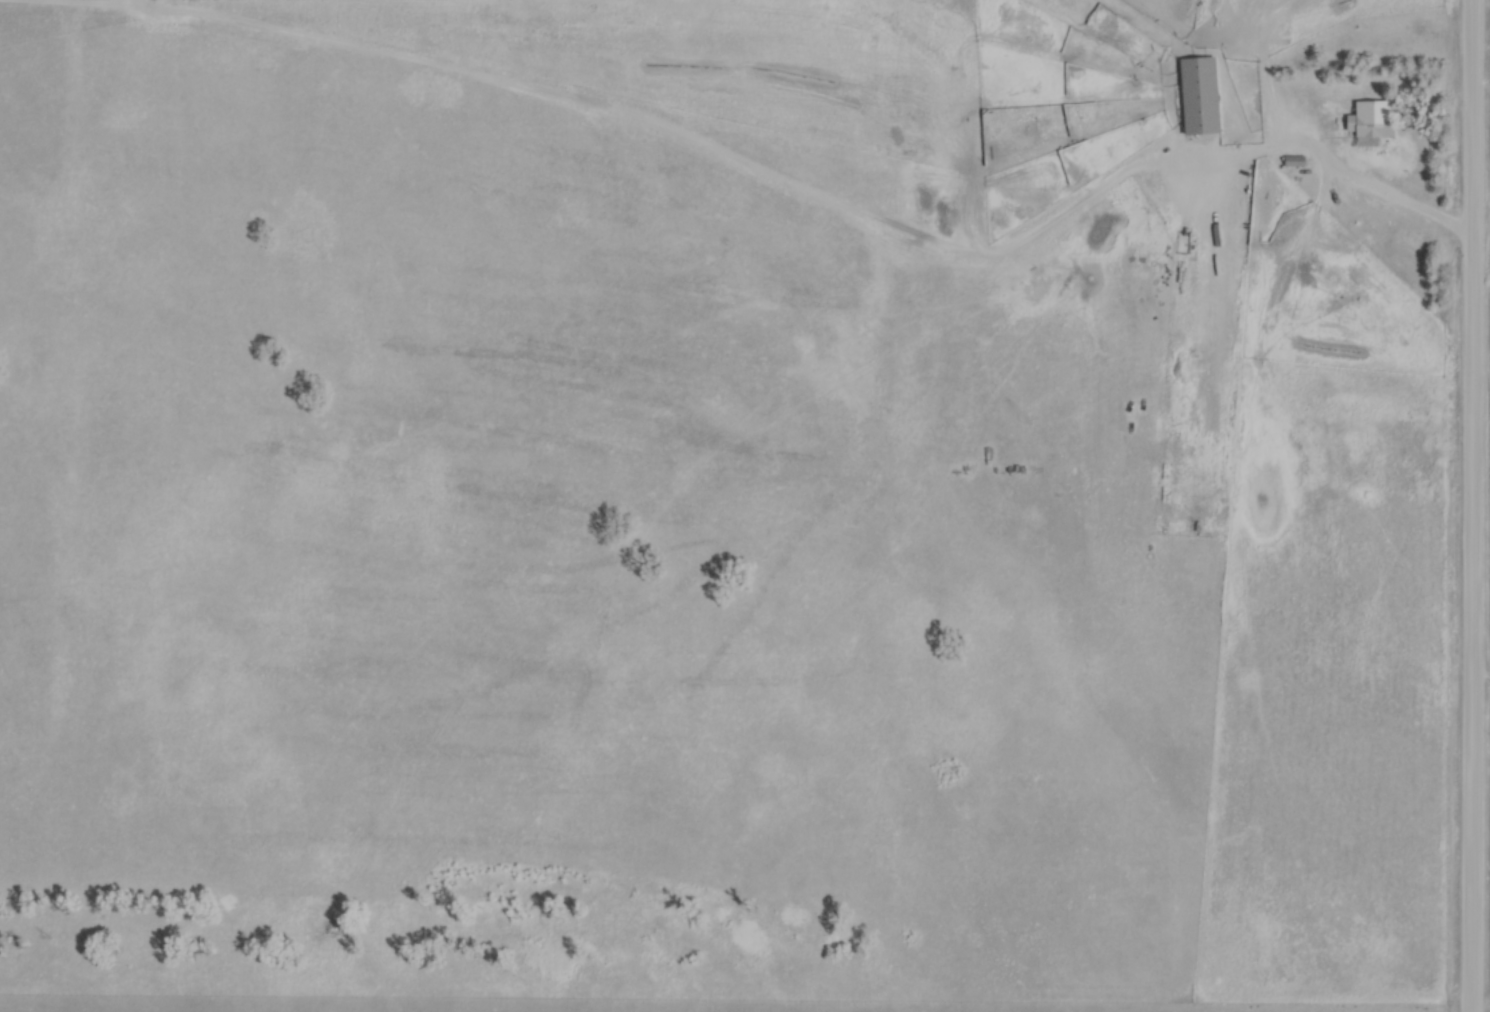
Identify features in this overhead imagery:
building: (1204, 98)
building: (1373, 127)
road: (1472, 505)

